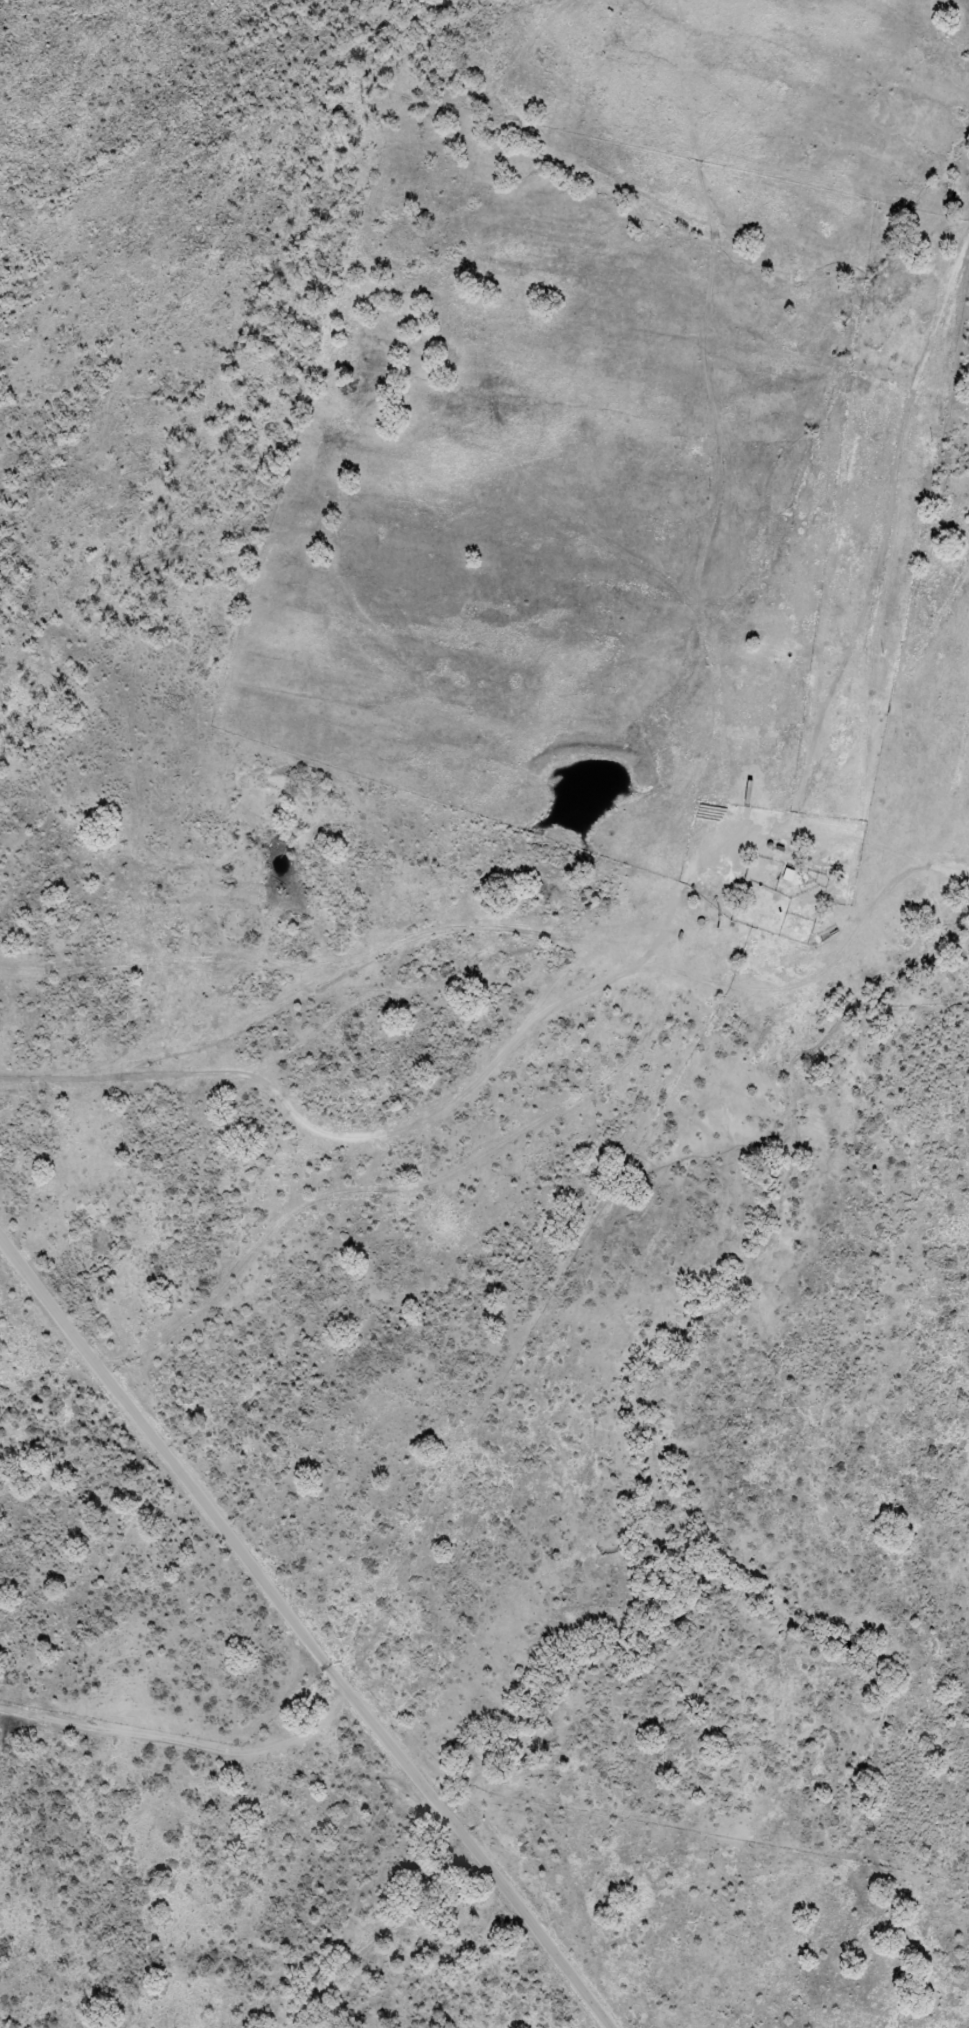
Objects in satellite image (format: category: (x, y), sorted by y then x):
building: (749, 792)
building: (788, 876)
road: (550, 1112)
road: (303, 1634)
road: (181, 1740)

